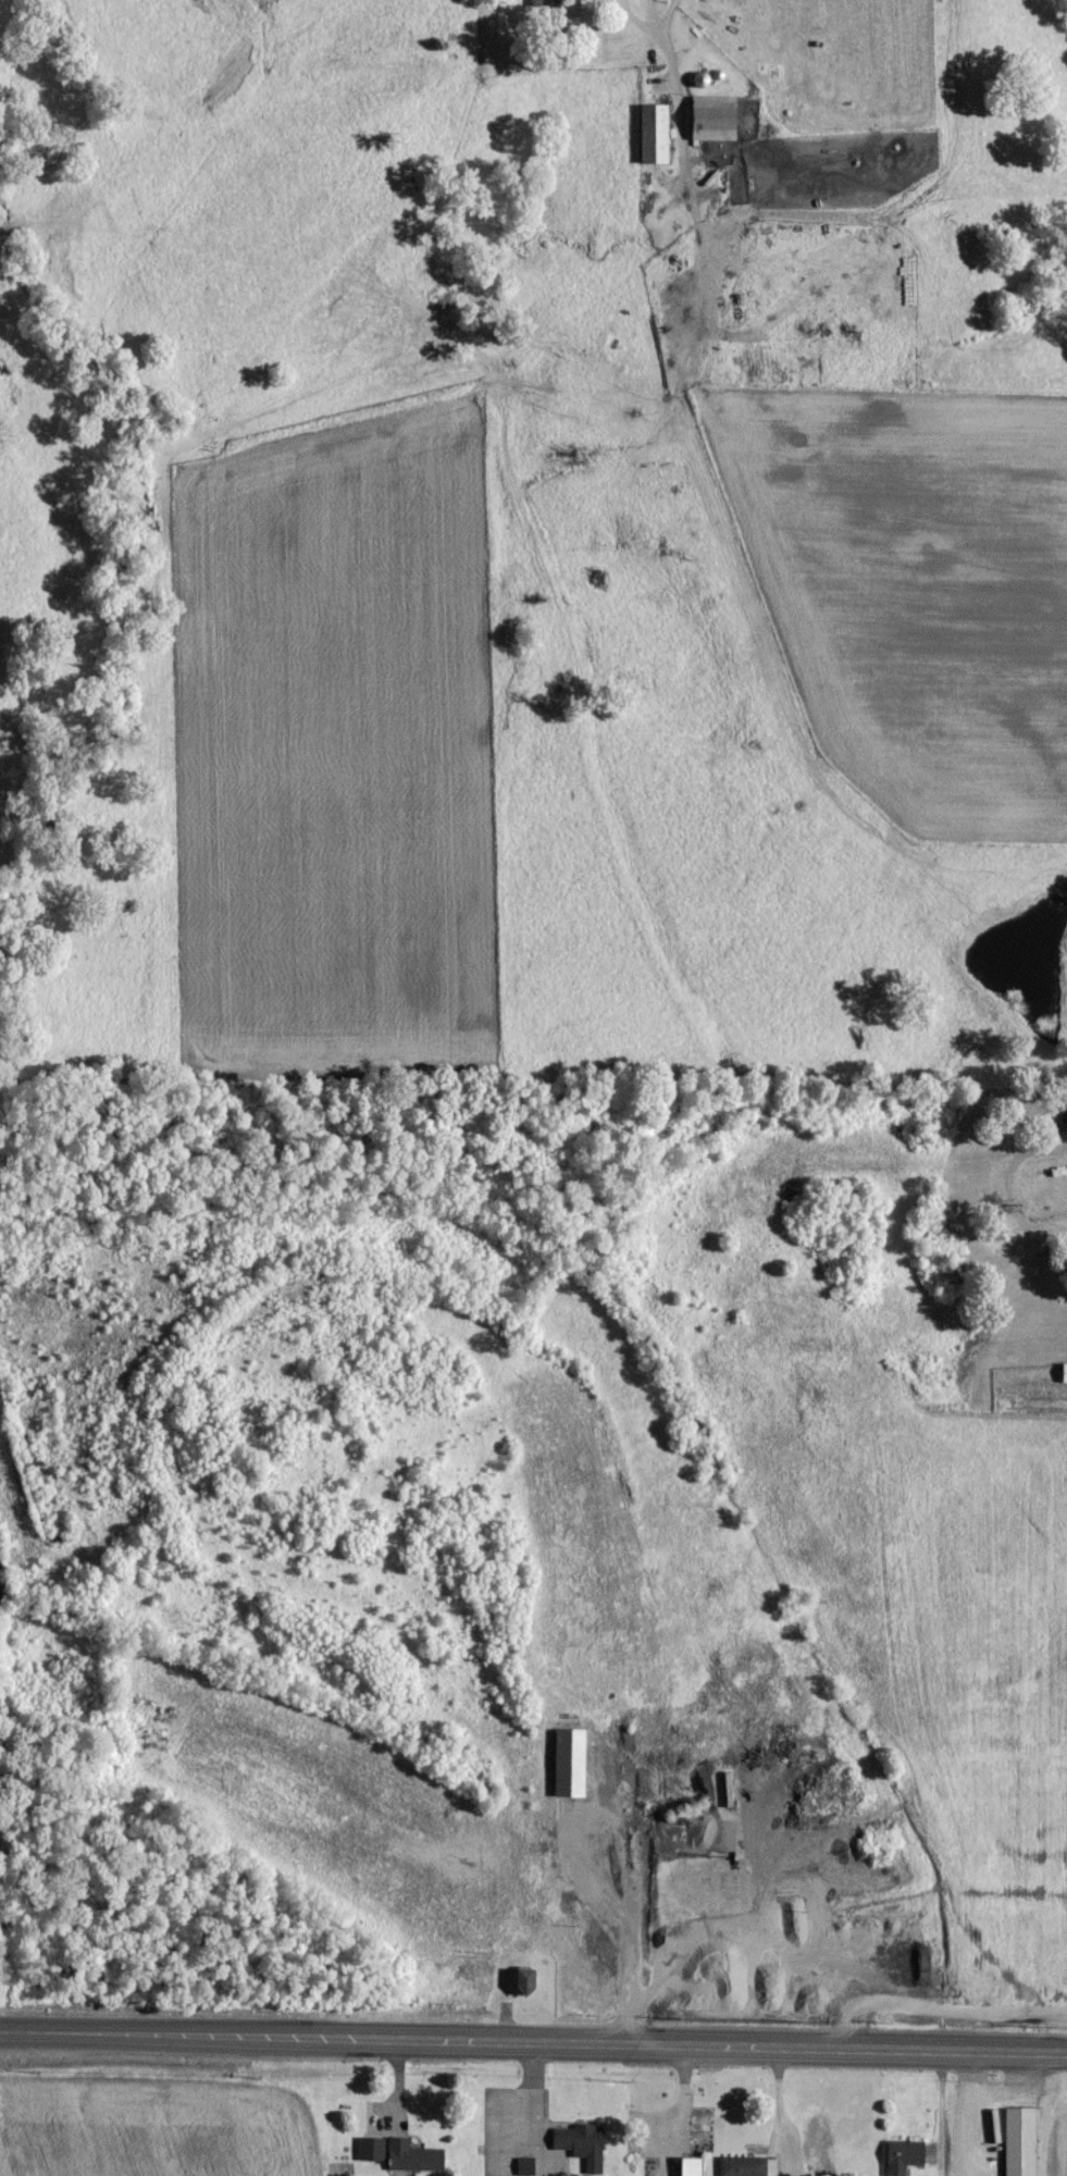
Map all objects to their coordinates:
building: (536, 8)
road: (648, 16)
road: (671, 84)
building: (709, 126)
building: (649, 141)
building: (566, 1771)
building: (519, 1991)
road: (533, 2047)
building: (1017, 2146)
building: (578, 2150)
building: (901, 2161)
building: (409, 2163)
building: (741, 2169)

